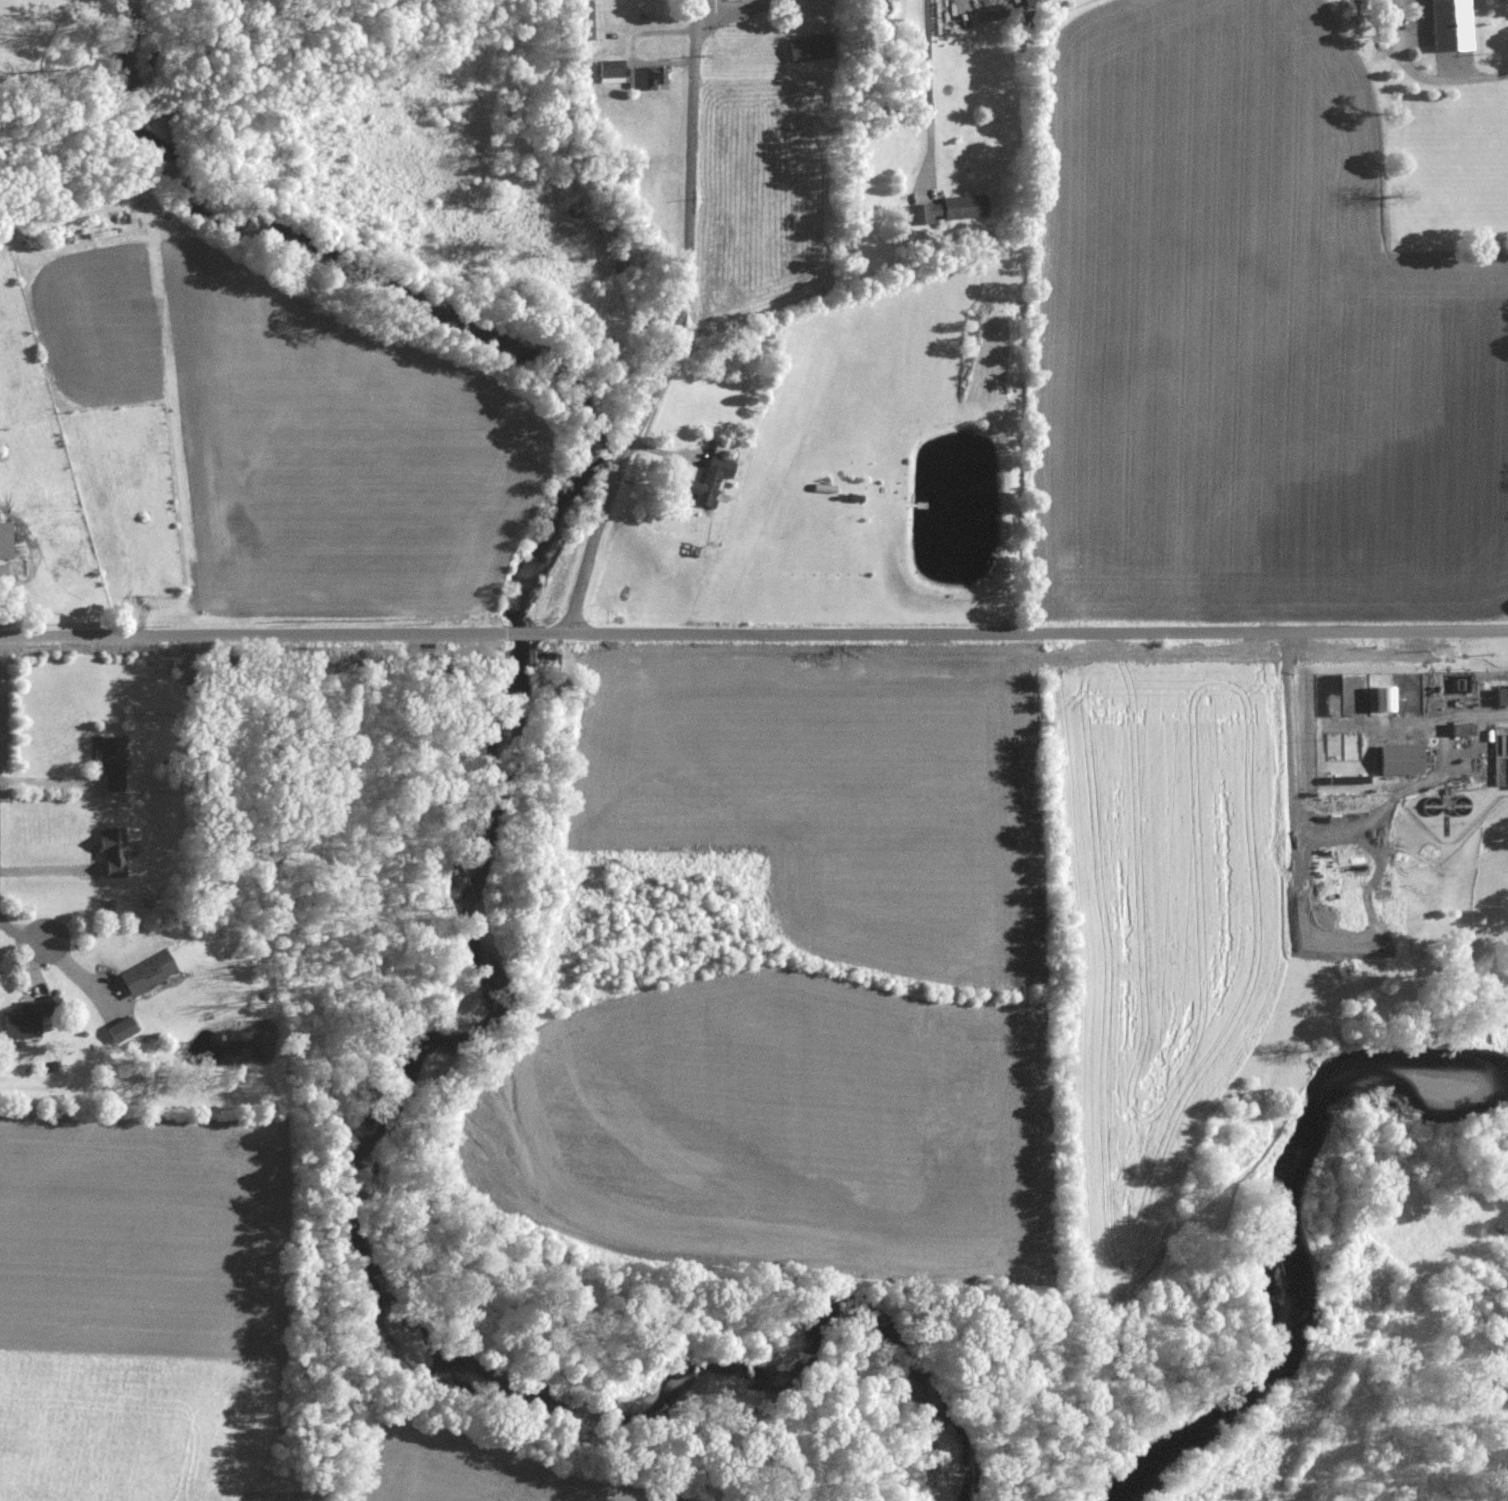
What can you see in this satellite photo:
building: (1031, 2)
road: (695, 6)
road: (732, 11)
building: (874, 11)
building: (589, 20)
building: (1449, 25)
building: (805, 50)
building: (608, 72)
building: (644, 79)
road: (1436, 80)
road: (929, 88)
building: (951, 209)
road: (675, 331)
building: (708, 480)
building: (6, 541)
road: (1025, 630)
road: (524, 632)
road: (252, 634)
building: (1500, 696)
building: (1382, 700)
building: (1459, 731)
wastewater plant: (1415, 741)
building: (1396, 761)
building: (109, 764)
road: (46, 782)
building: (110, 852)
road: (21, 937)
building: (146, 974)
building: (22, 1024)
building: (122, 1030)
river: (1316, 1242)

